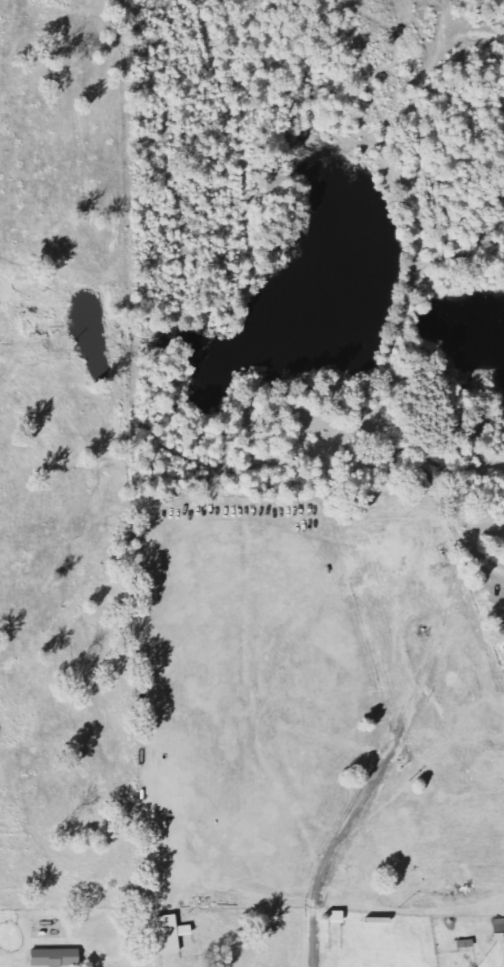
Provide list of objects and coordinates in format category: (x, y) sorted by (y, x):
building: (498, 925)
building: (167, 934)
building: (497, 936)
building: (59, 957)

